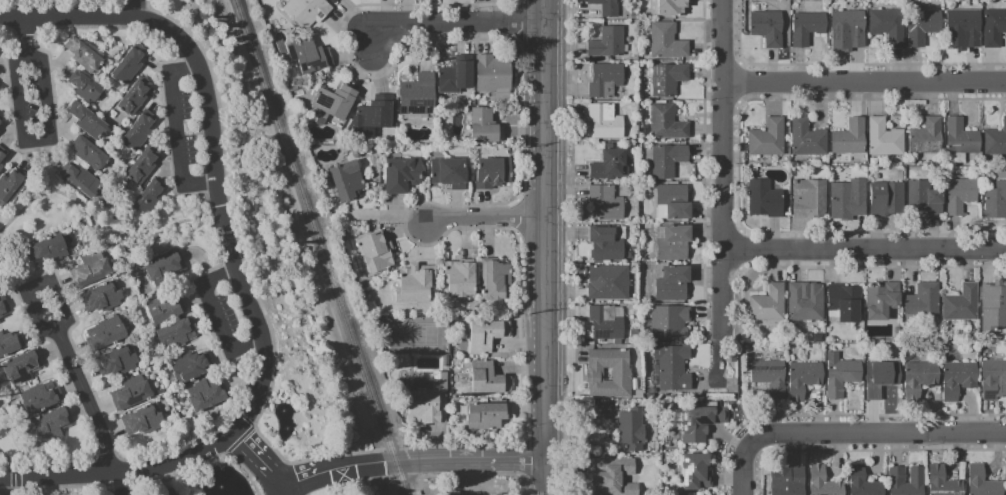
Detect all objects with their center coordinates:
building: (330, 0)
building: (335, 1)
road: (517, 2)
road: (64, 5)
building: (673, 7)
building: (607, 8)
road: (137, 9)
building: (308, 12)
road: (68, 20)
road: (517, 21)
road: (457, 22)
building: (851, 28)
building: (889, 28)
building: (923, 28)
building: (768, 29)
building: (808, 29)
building: (994, 29)
building: (964, 30)
road: (176, 35)
building: (668, 43)
building: (608, 44)
building: (84, 56)
building: (310, 57)
building: (131, 66)
building: (494, 76)
building: (457, 77)
building: (669, 80)
building: (606, 81)
road: (864, 84)
building: (86, 88)
building: (419, 96)
building: (136, 98)
building: (336, 103)
building: (378, 114)
building: (1, 121)
building: (88, 122)
building: (606, 123)
building: (668, 124)
road: (207, 126)
building: (486, 128)
road: (57, 132)
building: (139, 133)
road: (175, 133)
building: (0, 134)
building: (927, 138)
building: (851, 139)
building: (885, 139)
building: (962, 139)
building: (769, 140)
building: (808, 140)
road: (22, 141)
building: (996, 142)
building: (91, 154)
building: (3, 159)
building: (669, 161)
building: (144, 166)
building: (611, 167)
road: (41, 170)
building: (450, 174)
building: (494, 175)
building: (403, 176)
building: (82, 181)
building: (348, 182)
building: (11, 187)
road: (723, 187)
building: (961, 197)
building: (150, 198)
building: (925, 199)
building: (810, 200)
building: (887, 200)
road: (205, 201)
building: (766, 201)
building: (675, 202)
building: (847, 203)
building: (996, 203)
road: (571, 204)
building: (606, 204)
road: (483, 219)
road: (99, 223)
road: (544, 230)
railway: (314, 232)
road: (516, 240)
building: (674, 244)
building: (606, 245)
building: (50, 251)
road: (865, 251)
building: (375, 254)
building: (166, 270)
building: (91, 271)
road: (246, 277)
building: (461, 279)
building: (496, 282)
building: (609, 284)
building: (416, 285)
building: (674, 285)
building: (104, 299)
building: (924, 301)
building: (883, 302)
building: (806, 303)
building: (846, 304)
building: (769, 305)
building: (962, 305)
building: (4, 308)
building: (994, 308)
road: (254, 309)
building: (166, 310)
road: (215, 319)
building: (0, 323)
building: (670, 323)
building: (606, 324)
road: (56, 333)
building: (106, 335)
building: (178, 335)
park: (411, 335)
building: (488, 336)
building: (10, 345)
building: (119, 362)
building: (23, 368)
building: (192, 368)
building: (673, 369)
building: (610, 374)
building: (842, 376)
building: (770, 378)
building: (489, 380)
building: (804, 380)
building: (881, 380)
building: (920, 381)
building: (959, 381)
building: (994, 381)
building: (132, 394)
building: (206, 395)
building: (41, 398)
building: (428, 404)
road: (735, 408)
building: (603, 414)
building: (489, 417)
building: (144, 421)
road: (225, 421)
building: (702, 424)
building: (54, 425)
building: (632, 431)
road: (247, 432)
road: (877, 434)
road: (457, 446)
road: (390, 447)
road: (470, 460)
road: (261, 463)
road: (240, 464)
road: (740, 467)
road: (1, 470)
road: (338, 470)
building: (697, 473)
road: (121, 474)
building: (1005, 474)
building: (613, 476)
building: (898, 477)
road: (546, 478)
railway: (400, 479)
building: (983, 482)
building: (824, 483)
building: (864, 483)
building: (943, 483)
building: (792, 484)
road: (3, 488)
building: (454, 493)

